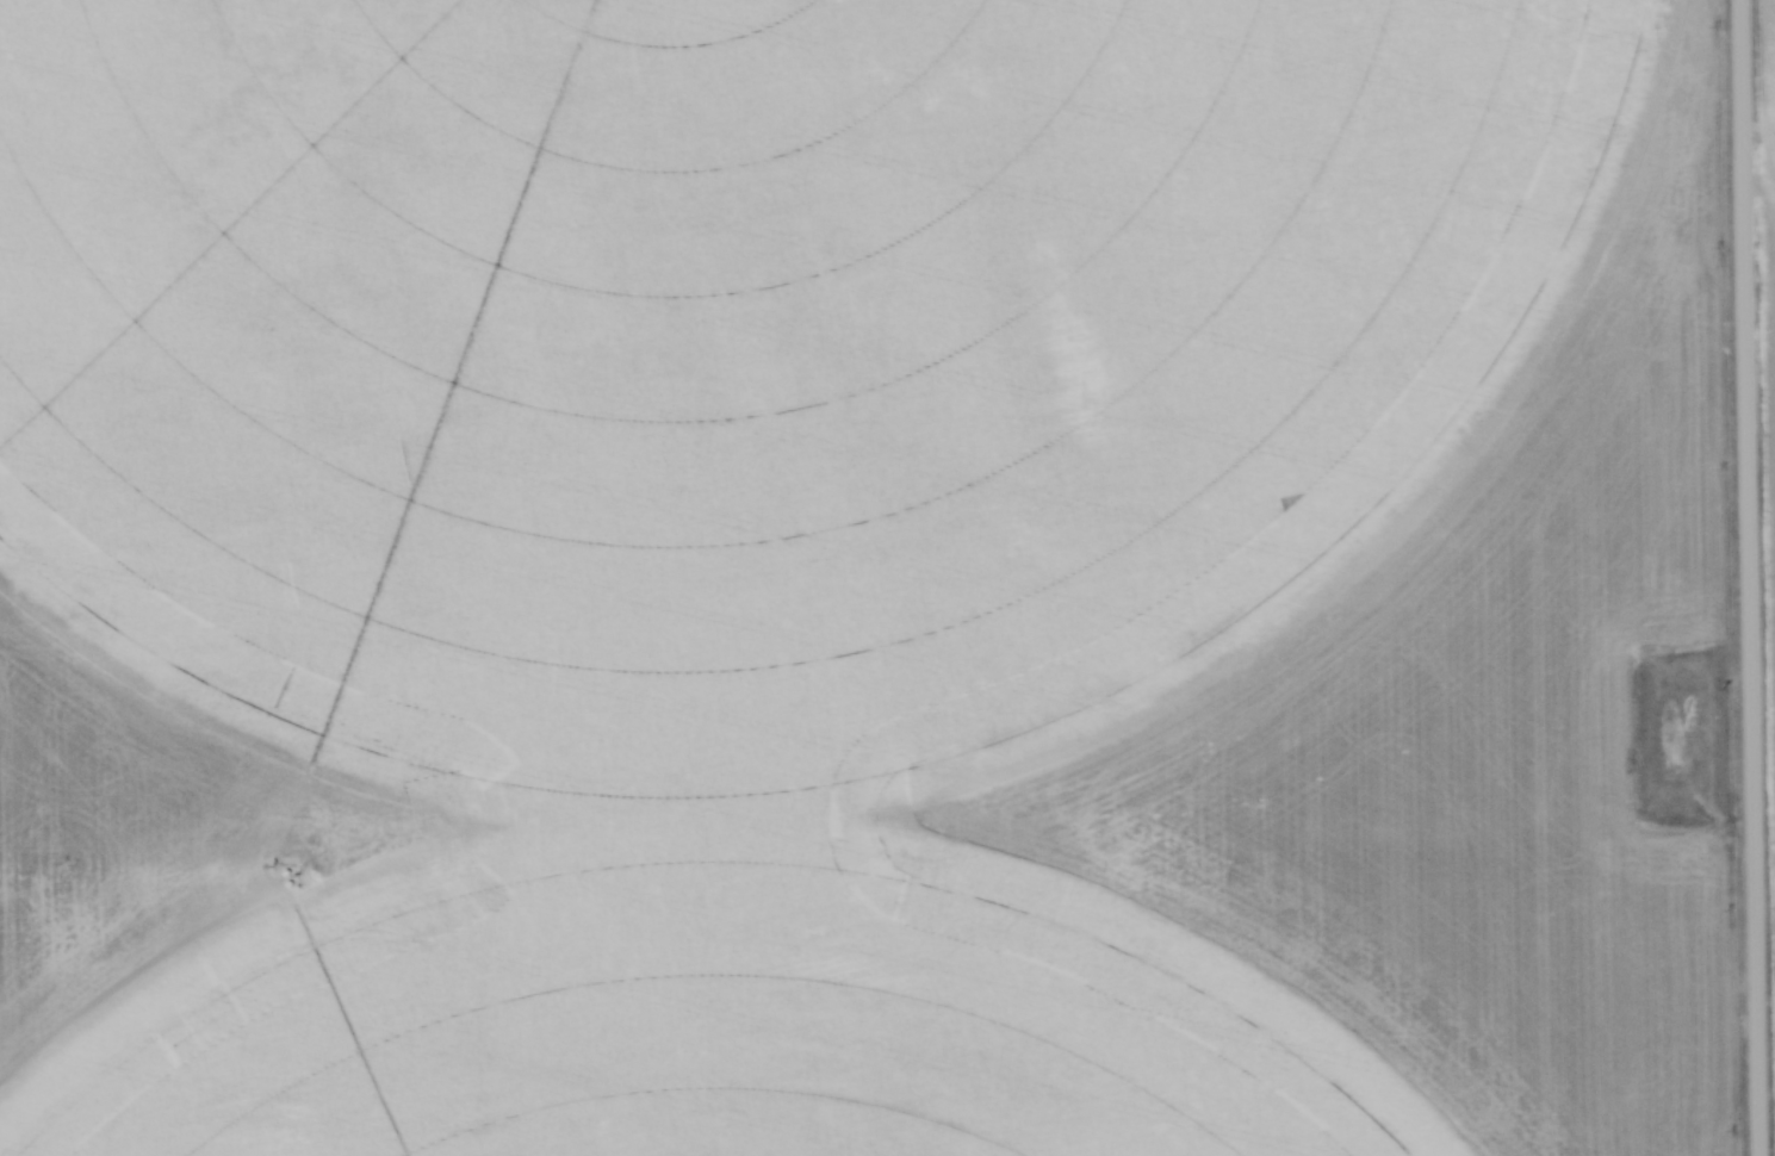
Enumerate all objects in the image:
road: (1749, 577)

